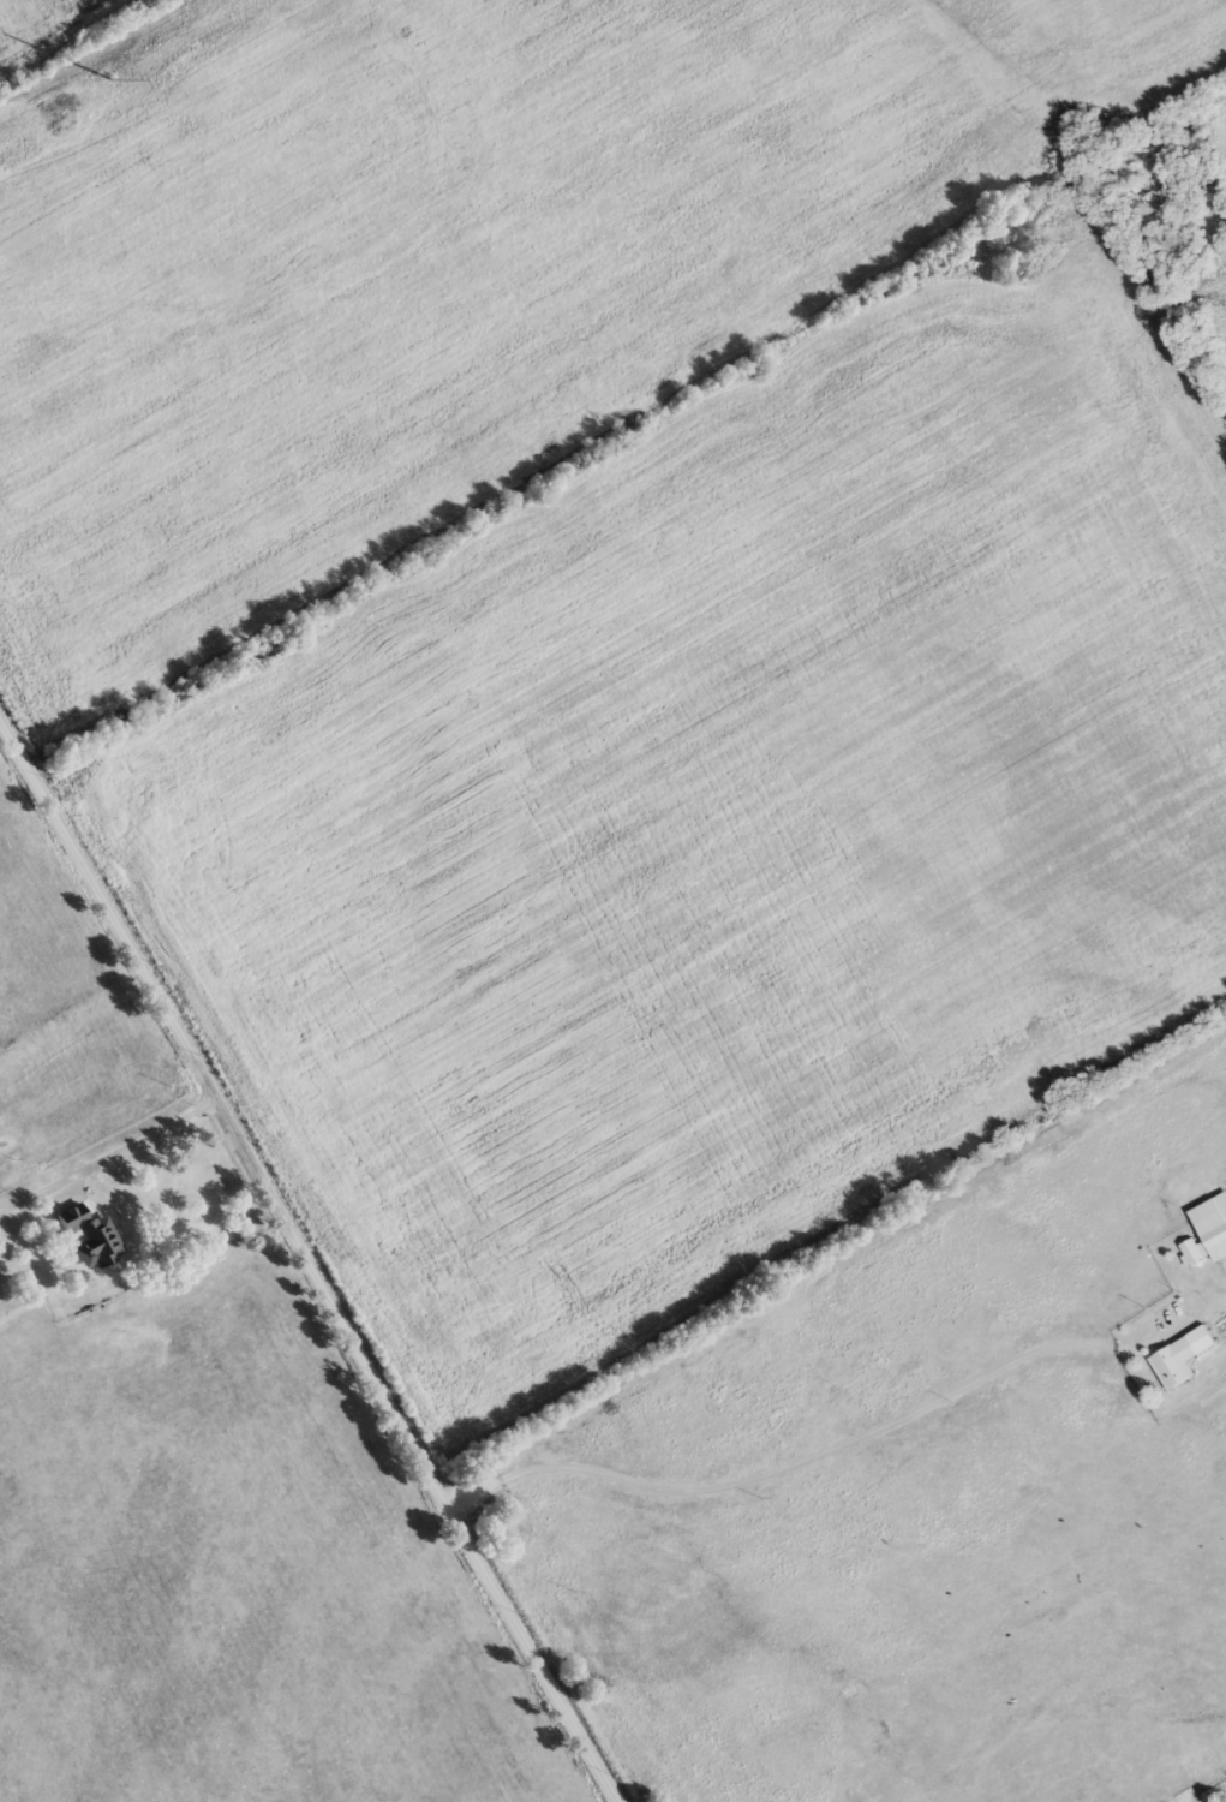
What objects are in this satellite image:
power tower: (110, 78)
road: (128, 1187)
building: (89, 1239)
building: (1207, 1240)
road: (310, 1259)
building: (1182, 1358)
road: (845, 1439)

